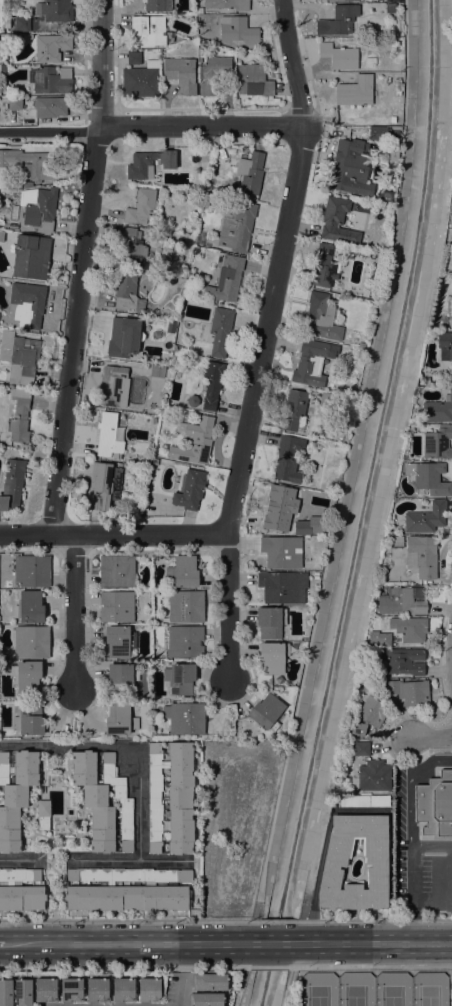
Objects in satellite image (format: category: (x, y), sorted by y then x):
building: (337, 0)
building: (227, 4)
building: (158, 5)
building: (390, 8)
building: (55, 10)
building: (338, 21)
building: (7, 23)
building: (22, 24)
building: (238, 30)
building: (148, 31)
building: (205, 46)
building: (51, 47)
building: (339, 56)
building: (239, 57)
building: (133, 58)
building: (371, 61)
building: (213, 73)
building: (181, 74)
building: (253, 79)
building: (50, 80)
building: (142, 80)
building: (356, 92)
building: (15, 102)
building: (50, 107)
building: (392, 119)
road: (150, 126)
building: (385, 135)
building: (182, 152)
building: (393, 158)
building: (150, 163)
building: (32, 164)
building: (350, 168)
building: (250, 175)
building: (208, 188)
building: (451, 205)
building: (141, 206)
building: (39, 208)
building: (338, 222)
building: (236, 225)
building: (167, 233)
building: (1, 235)
building: (130, 248)
building: (450, 253)
building: (31, 257)
road: (82, 266)
building: (324, 266)
building: (181, 279)
building: (226, 280)
building: (128, 292)
building: (371, 295)
building: (28, 305)
building: (450, 306)
building: (323, 318)
building: (220, 331)
building: (124, 337)
road: (264, 338)
building: (361, 345)
building: (445, 346)
building: (19, 358)
building: (312, 362)
building: (158, 371)
building: (211, 384)
building: (112, 385)
building: (193, 401)
building: (438, 410)
building: (294, 411)
building: (20, 419)
building: (110, 435)
building: (194, 442)
building: (438, 443)
building: (288, 458)
road: (342, 472)
building: (428, 477)
building: (12, 484)
building: (103, 485)
building: (190, 491)
road: (386, 500)
building: (277, 507)
building: (425, 518)
building: (302, 528)
road: (113, 533)
building: (394, 542)
building: (281, 551)
building: (421, 556)
building: (32, 571)
building: (116, 571)
building: (182, 572)
building: (383, 576)
building: (280, 588)
building: (421, 589)
building: (400, 602)
building: (116, 606)
building: (185, 606)
building: (29, 607)
road: (76, 610)
building: (156, 621)
building: (270, 622)
building: (409, 629)
building: (383, 639)
building: (119, 641)
building: (32, 642)
building: (183, 642)
building: (273, 657)
building: (403, 661)
building: (378, 674)
building: (26, 676)
building: (120, 678)
building: (180, 678)
building: (409, 692)
building: (266, 712)
building: (368, 716)
building: (185, 718)
building: (29, 720)
building: (119, 720)
road: (431, 739)
building: (361, 749)
road: (138, 767)
building: (374, 776)
building: (15, 794)
building: (171, 798)
building: (103, 800)
building: (363, 802)
building: (435, 805)
building: (44, 814)
road: (410, 817)
road: (17, 860)
road: (162, 860)
building: (335, 863)
building: (448, 867)
building: (127, 889)
building: (21, 890)
road: (432, 900)
road: (129, 920)
road: (373, 920)
road: (277, 921)
road: (300, 922)
road: (413, 924)
road: (273, 942)
road: (373, 942)
road: (133, 943)
road: (7, 944)
road: (291, 963)
road: (369, 966)
road: (268, 967)
road: (124, 968)
road: (181, 974)
building: (210, 982)
park: (375, 989)
building: (46, 990)
building: (71, 990)
building: (97, 990)
building: (123, 990)
building: (149, 990)
building: (23, 992)
building: (6, 993)
road: (285, 995)
building: (206, 1000)

